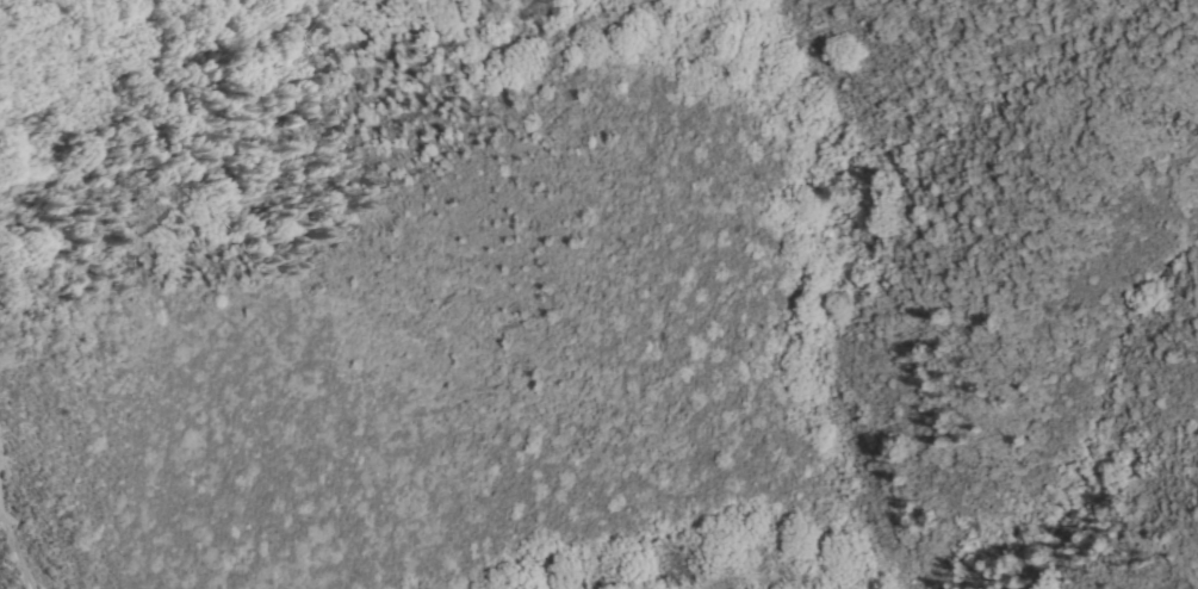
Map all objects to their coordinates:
road: (17, 544)

